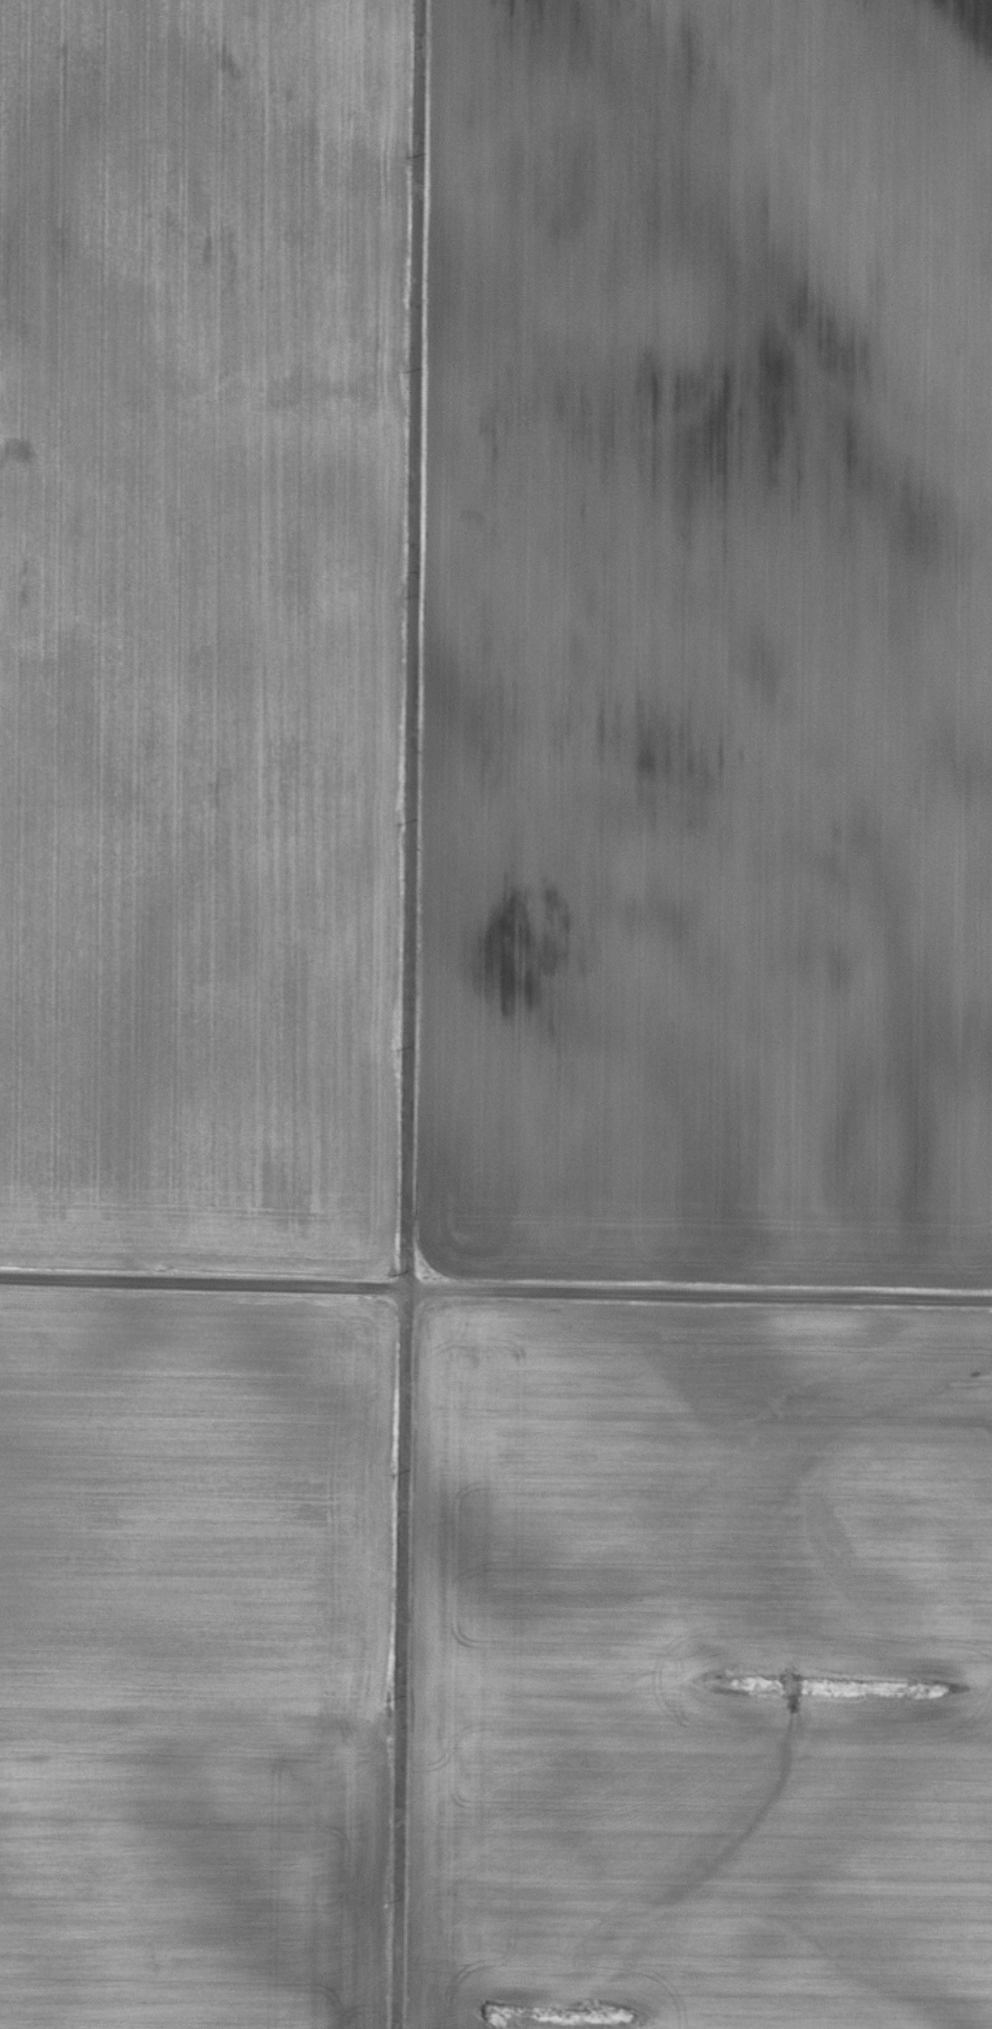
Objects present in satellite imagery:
road: (406, 1014)
road: (495, 1293)

